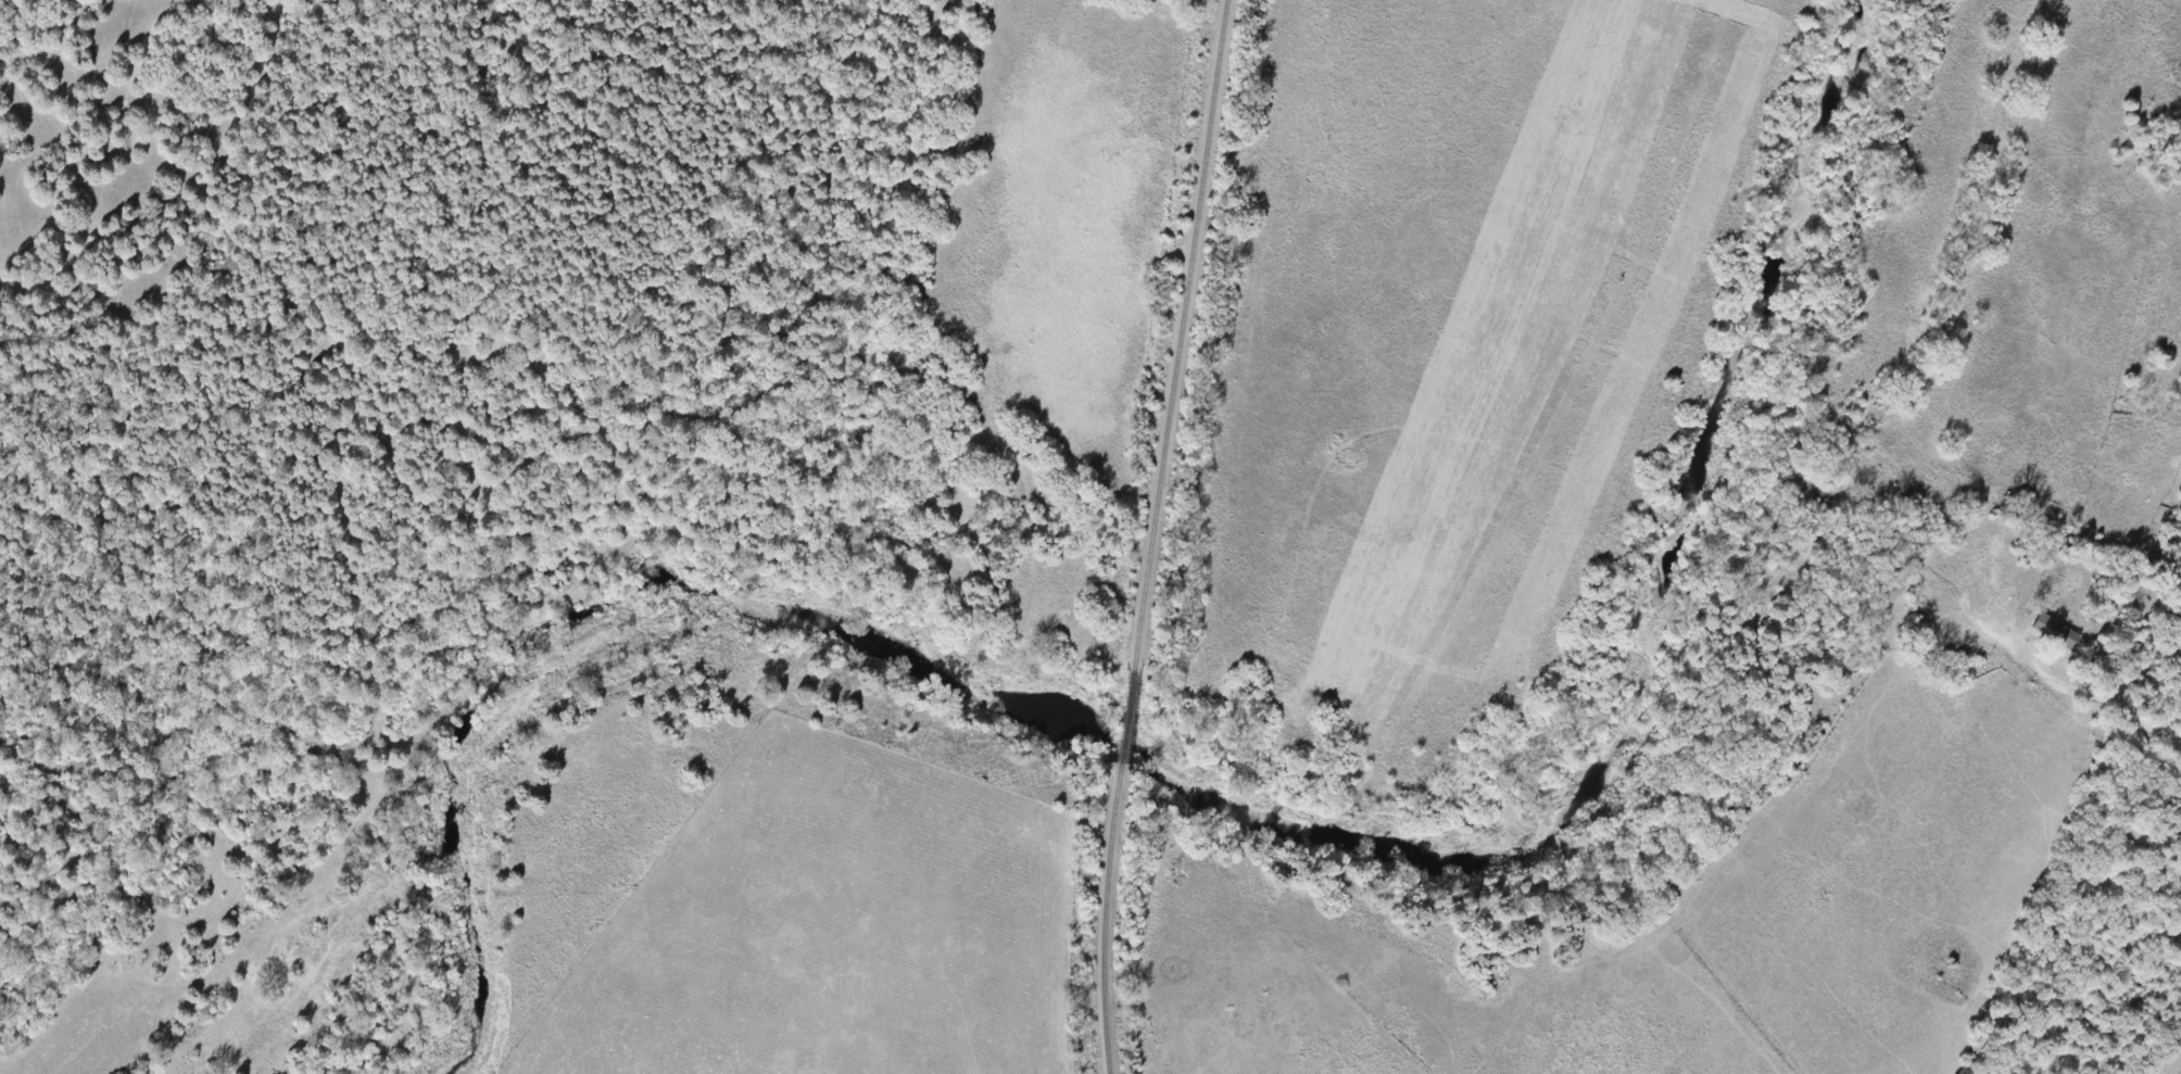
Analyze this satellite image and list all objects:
railway: (1155, 535)
building: (2043, 624)
road: (2087, 694)

